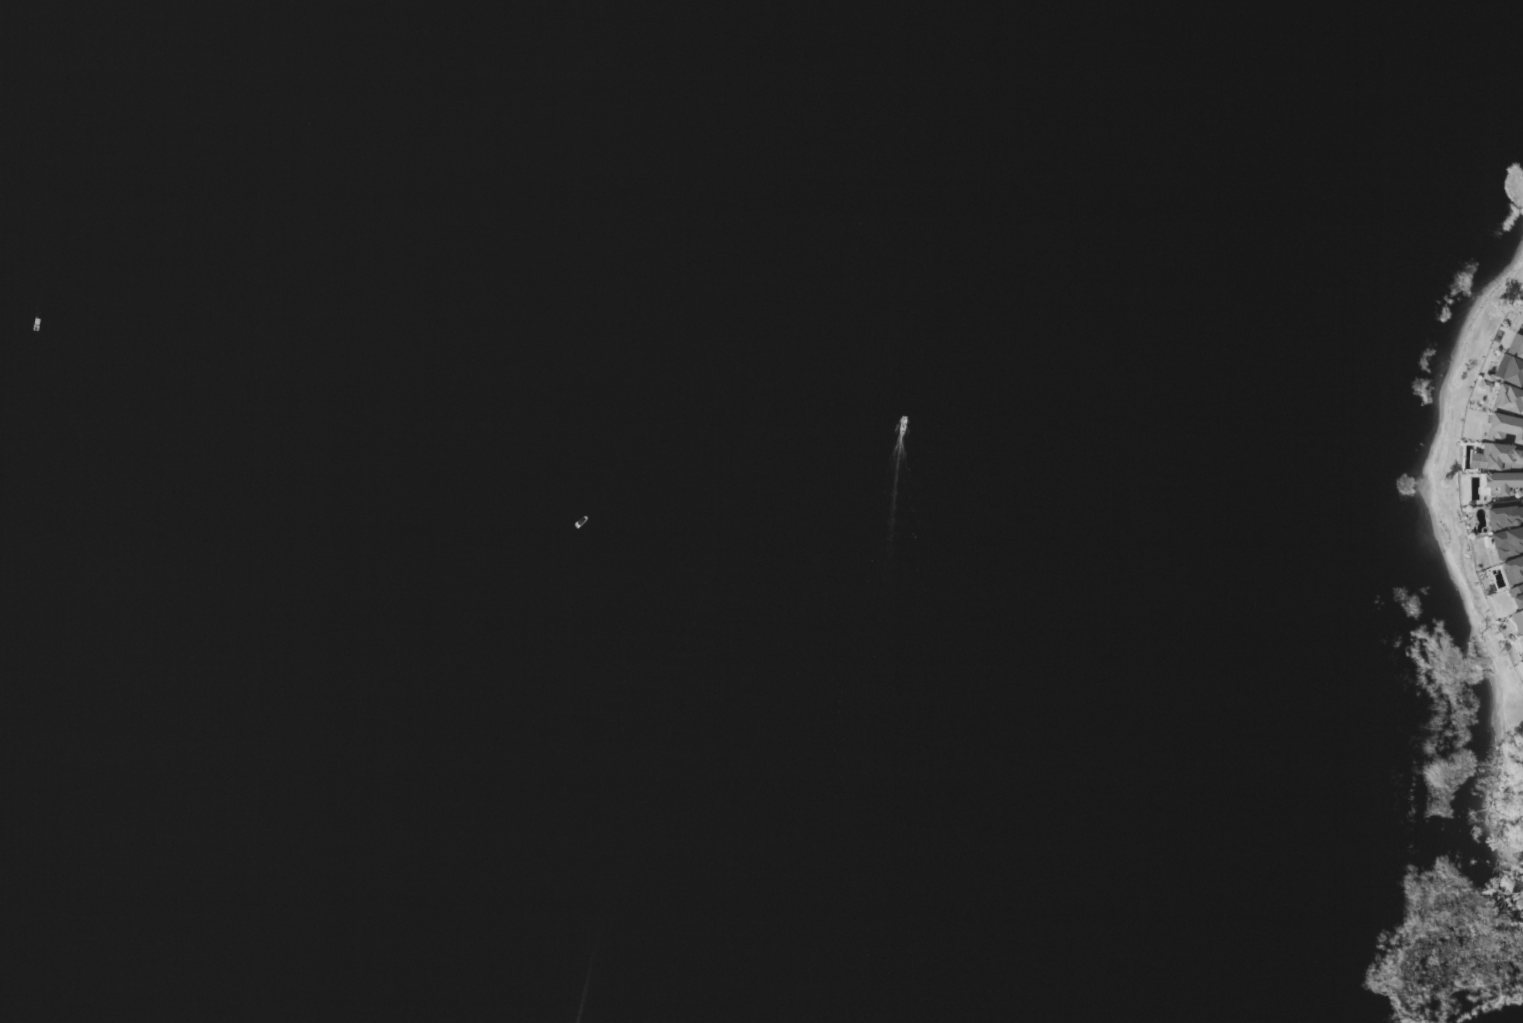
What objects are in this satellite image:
river: (655, 462)

